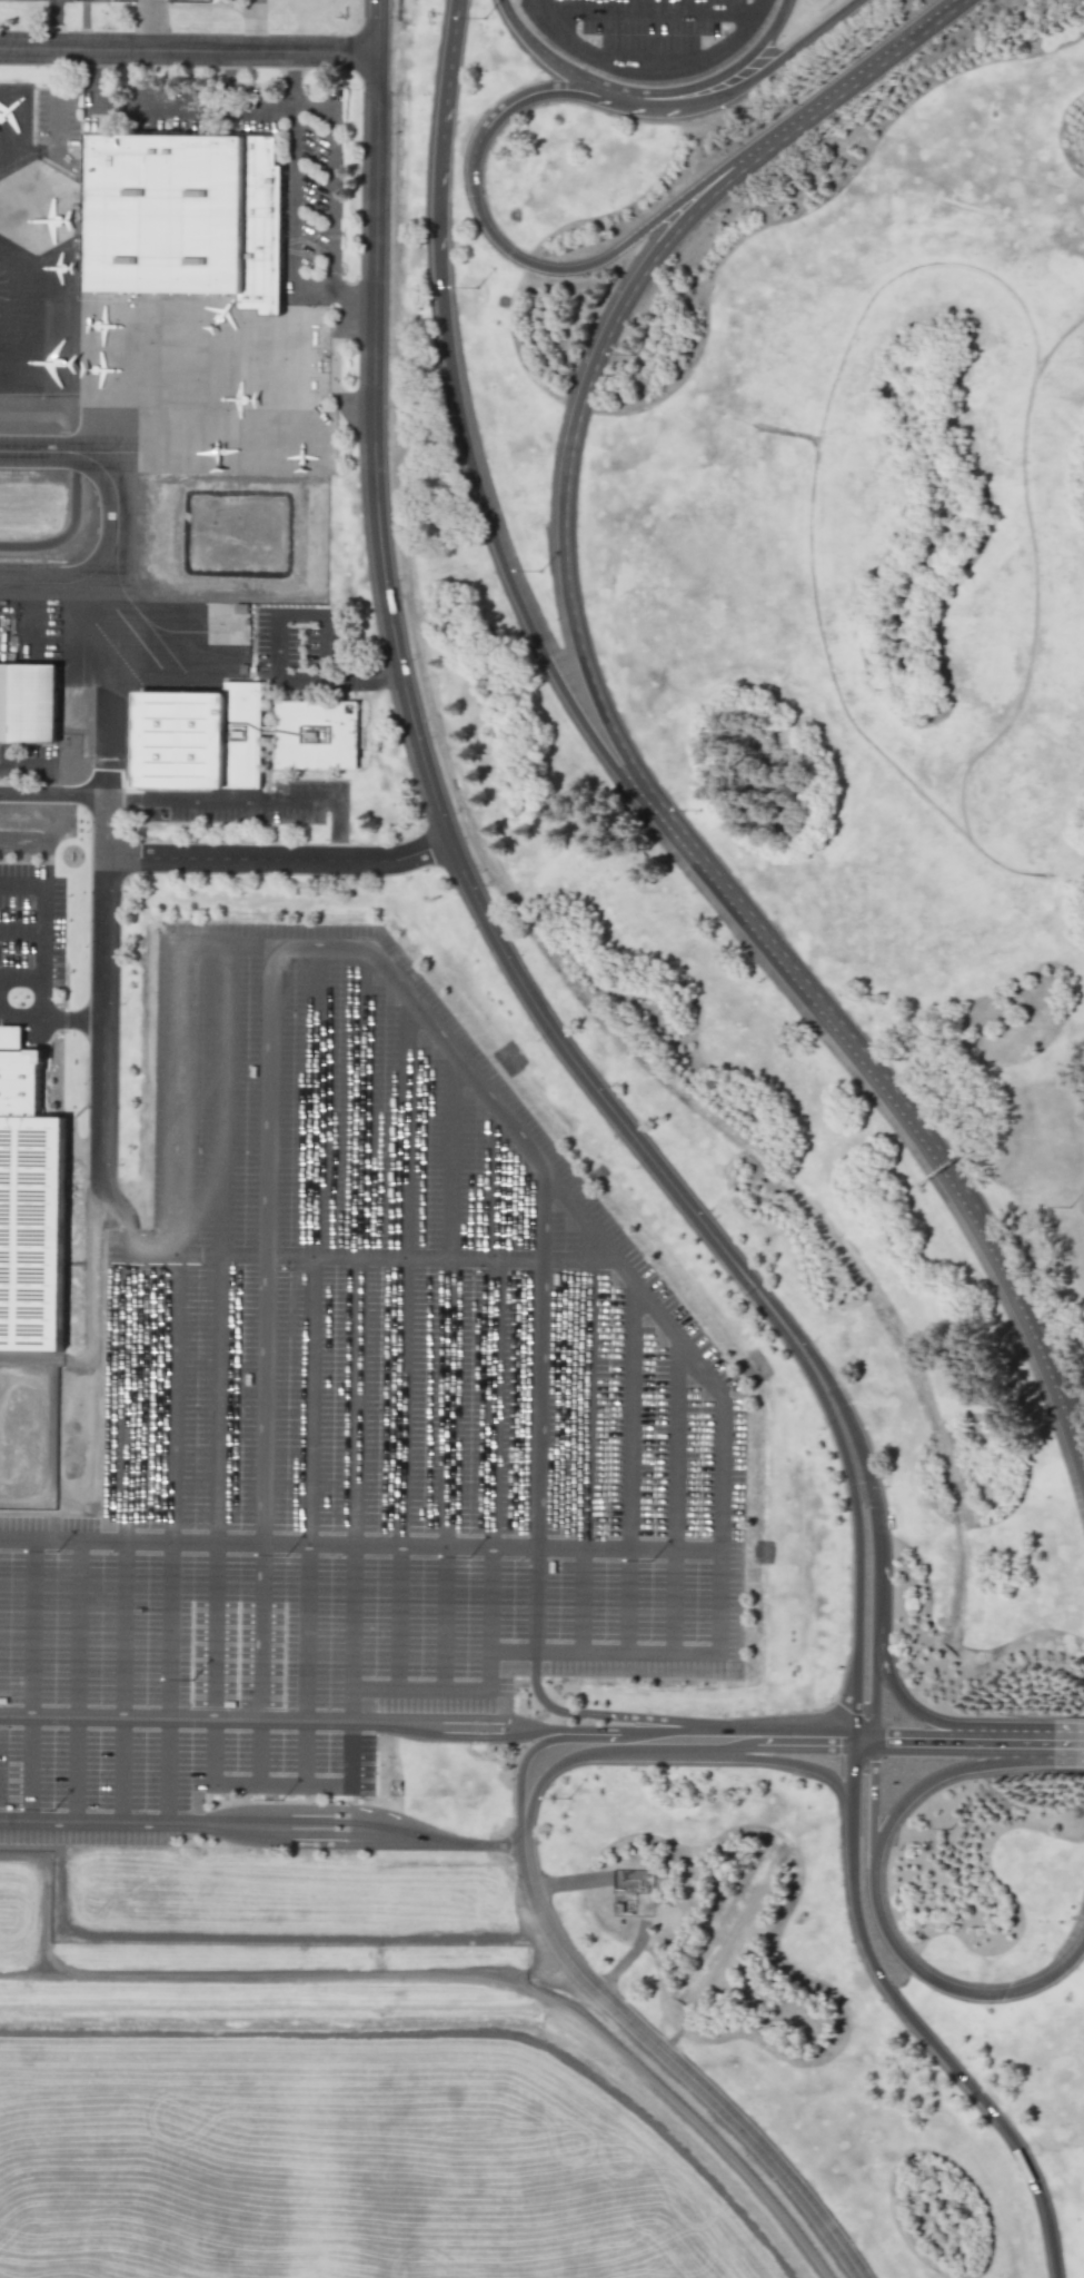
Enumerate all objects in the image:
parking lot: (255, 2)
road: (650, 8)
road: (239, 10)
road: (256, 27)
parking lot: (650, 38)
road: (188, 52)
road: (649, 70)
road: (720, 77)
road: (95, 78)
road: (292, 80)
road: (858, 81)
road: (537, 90)
road: (675, 103)
road: (285, 106)
road: (314, 108)
road: (441, 137)
road: (334, 189)
building: (187, 217)
road: (575, 269)
road: (331, 280)
road: (325, 290)
road: (364, 310)
airport apron: (145, 347)
road: (332, 376)
airport taxiway: (101, 455)
road: (568, 458)
airport taxiway: (115, 502)
road: (498, 555)
airport taxiway: (68, 585)
airport apron: (98, 648)
road: (377, 682)
building: (28, 704)
building: (316, 734)
building: (199, 737)
road: (86, 792)
road: (434, 799)
railway: (610, 843)
road: (278, 861)
road: (47, 907)
road: (23, 929)
road: (274, 950)
road: (23, 975)
road: (23, 1019)
road: (103, 1019)
road: (52, 1020)
road: (899, 1109)
airport: (541, 1139)
road: (116, 1205)
building: (30, 1212)
road: (173, 1244)
road: (218, 1246)
road: (265, 1246)
road: (312, 1247)
road: (362, 1248)
road: (374, 1257)
road: (633, 1275)
road: (91, 1291)
road: (404, 1347)
road: (30, 1361)
road: (448, 1371)
parking lot: (371, 1384)
road: (127, 1396)
road: (491, 1398)
road: (580, 1434)
road: (629, 1468)
road: (682, 1500)
road: (536, 1517)
road: (63, 1539)
road: (424, 1545)
road: (879, 1603)
road: (855, 1612)
road: (355, 1617)
road: (212, 1622)
road: (262, 1623)
road: (36, 1626)
road: (83, 1626)
road: (125, 1627)
road: (168, 1627)
road: (308, 1630)
road: (605, 1658)
road: (419, 1692)
road: (352, 1704)
road: (4, 1712)
road: (180, 1714)
road: (3, 1716)
road: (922, 1716)
road: (18, 1717)
road: (189, 1721)
road: (381, 1724)
road: (473, 1726)
road: (757, 1729)
road: (597, 1730)
road: (887, 1733)
road: (962, 1734)
road: (551, 1740)
road: (874, 1740)
road: (1015, 1741)
road: (779, 1744)
road: (1042, 1747)
road: (1068, 1749)
road: (213, 1751)
road: (941, 1751)
road: (260, 1752)
road: (309, 1752)
road: (682, 1752)
road: (350, 1753)
road: (565, 1760)
road: (792, 1762)
parking lot: (167, 1769)
road: (29, 1771)
road: (74, 1771)
road: (123, 1772)
road: (168, 1773)
road: (938, 1775)
road: (282, 1781)
road: (874, 1796)
road: (82, 1824)
road: (185, 1825)
road: (287, 1826)
road: (414, 1836)
road: (489, 1846)
road: (569, 1885)
road: (625, 1961)
road: (547, 1970)
road: (247, 1974)
road: (509, 1974)
road: (939, 1984)
road: (913, 2026)
road: (672, 2063)

